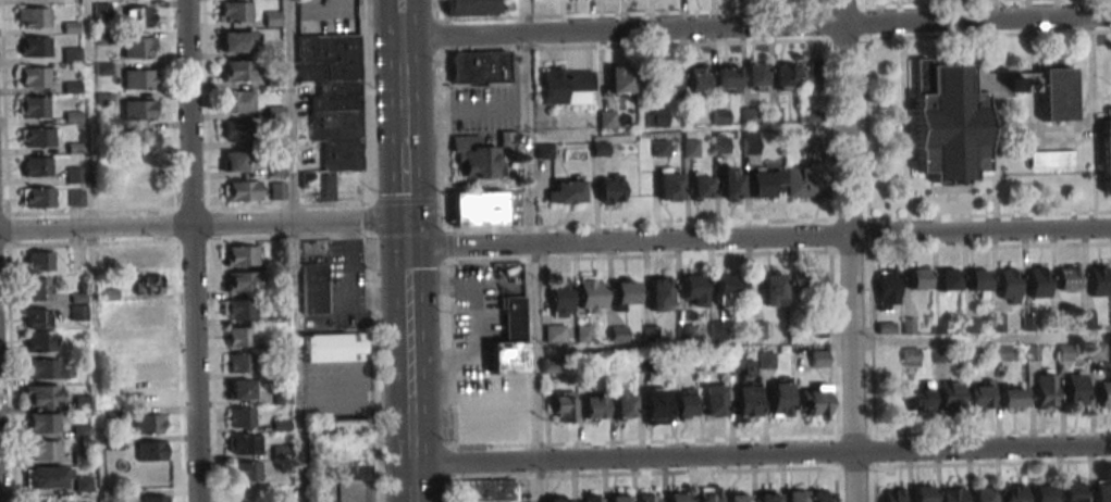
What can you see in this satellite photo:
road: (399, 5)
building: (469, 7)
building: (235, 12)
building: (139, 16)
building: (34, 17)
building: (273, 18)
road: (400, 25)
road: (755, 27)
building: (236, 41)
building: (138, 46)
building: (35, 47)
building: (480, 67)
building: (238, 71)
building: (811, 75)
building: (35, 76)
building: (755, 76)
building: (785, 76)
building: (138, 78)
building: (727, 78)
building: (698, 80)
building: (620, 81)
building: (667, 81)
road: (402, 83)
building: (567, 86)
building: (237, 101)
building: (35, 106)
road: (465, 106)
building: (141, 109)
building: (334, 112)
building: (975, 113)
building: (658, 116)
building: (606, 120)
building: (233, 130)
building: (39, 137)
building: (507, 138)
building: (145, 140)
building: (751, 142)
building: (720, 143)
building: (1107, 154)
building: (476, 158)
building: (1050, 159)
building: (235, 161)
building: (37, 166)
building: (276, 167)
building: (74, 175)
road: (404, 175)
building: (802, 180)
building: (730, 183)
building: (766, 184)
building: (669, 186)
building: (701, 187)
building: (609, 188)
building: (242, 190)
building: (277, 190)
building: (566, 191)
building: (38, 197)
building: (76, 198)
building: (478, 209)
road: (297, 224)
traffic signals: (405, 224)
road: (95, 229)
road: (405, 234)
road: (758, 238)
traffic signals: (406, 244)
road: (190, 250)
road: (295, 250)
road: (530, 251)
road: (848, 251)
building: (240, 255)
building: (145, 258)
building: (38, 261)
building: (1067, 278)
building: (918, 279)
building: (948, 279)
building: (978, 279)
building: (1098, 280)
building: (239, 281)
building: (808, 283)
building: (1038, 283)
building: (149, 284)
building: (1009, 284)
building: (728, 287)
building: (887, 287)
building: (36, 289)
building: (313, 289)
building: (773, 289)
building: (693, 290)
building: (626, 292)
building: (659, 293)
building: (592, 294)
building: (560, 297)
building: (78, 306)
building: (238, 309)
building: (151, 315)
building: (37, 318)
road: (410, 322)
building: (1028, 323)
building: (971, 325)
building: (908, 326)
building: (937, 326)
building: (717, 329)
building: (683, 331)
building: (583, 332)
building: (238, 336)
road: (980, 338)
building: (509, 339)
building: (41, 341)
building: (148, 342)
building: (334, 347)
building: (1096, 352)
building: (971, 353)
building: (1001, 353)
building: (911, 354)
building: (940, 354)
building: (818, 359)
building: (766, 360)
building: (240, 362)
building: (547, 365)
building: (46, 368)
building: (149, 369)
building: (744, 388)
building: (242, 389)
building: (1075, 389)
building: (1046, 390)
building: (950, 393)
building: (1104, 393)
building: (42, 394)
building: (155, 397)
building: (780, 397)
building: (922, 397)
building: (982, 397)
building: (1012, 397)
building: (714, 401)
building: (814, 402)
building: (624, 403)
building: (684, 404)
building: (564, 405)
building: (593, 406)
building: (655, 406)
building: (240, 417)
building: (44, 422)
building: (149, 423)
building: (343, 427)
building: (244, 443)
building: (45, 450)
building: (151, 450)
road: (416, 450)
road: (763, 455)
building: (246, 470)
building: (349, 473)
building: (45, 477)
building: (83, 484)
building: (487, 491)
building: (1102, 491)
building: (1015, 492)
building: (1072, 492)
building: (708, 493)
building: (922, 493)
building: (952, 493)
building: (982, 493)
building: (1044, 493)
building: (893, 494)
building: (768, 495)
building: (795, 495)
building: (820, 495)
building: (678, 497)
building: (738, 497)
building: (153, 498)
building: (588, 498)
building: (618, 498)
building: (649, 498)
building: (558, 499)

